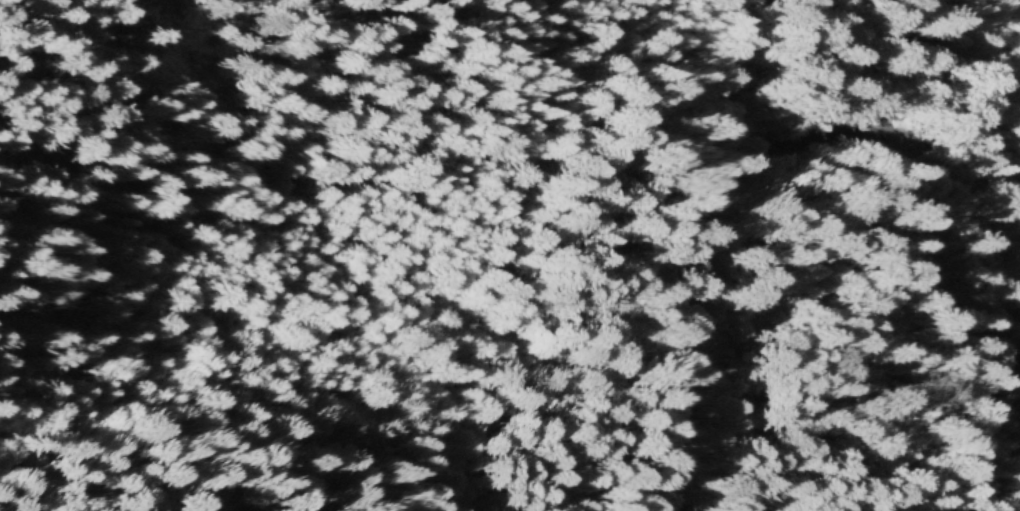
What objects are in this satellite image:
road: (718, 97)
road: (906, 250)
road: (724, 350)

